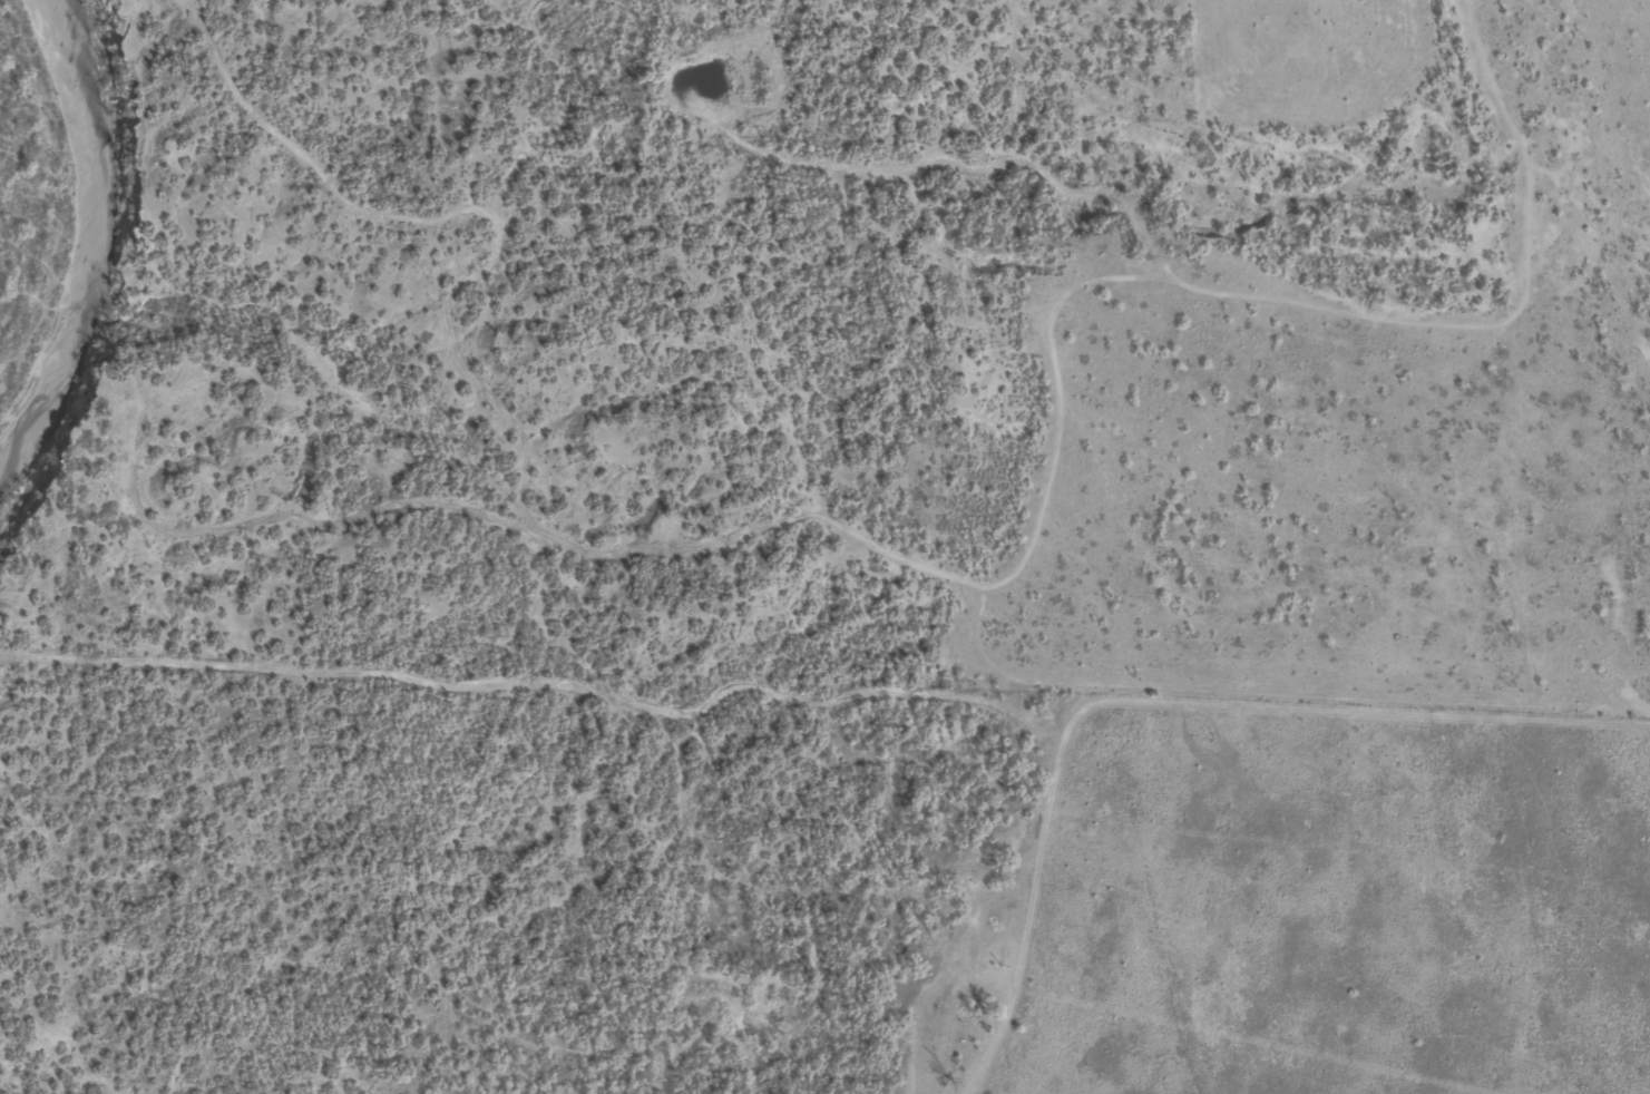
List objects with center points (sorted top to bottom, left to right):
river: (107, 244)
road: (1227, 744)

